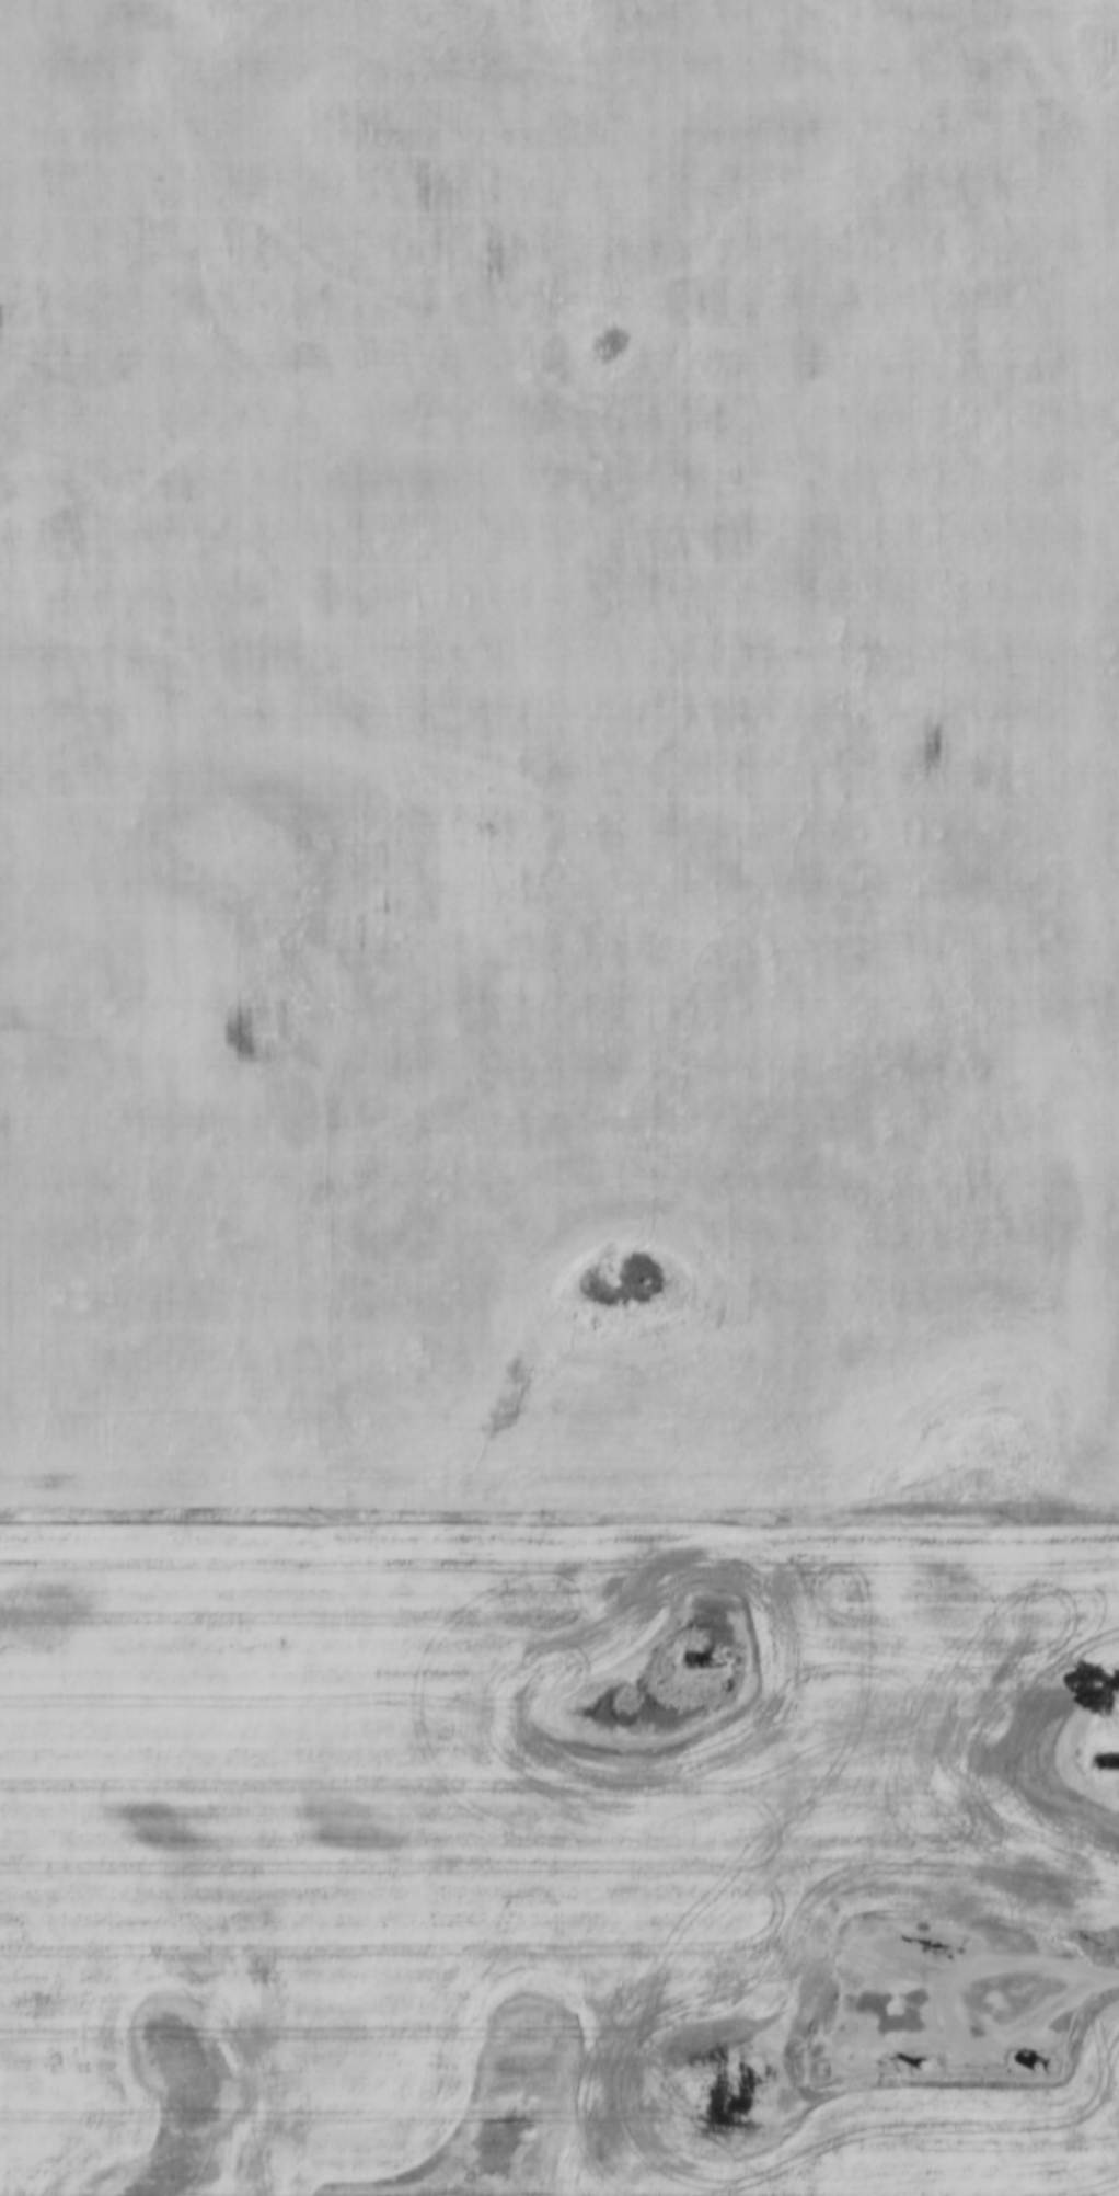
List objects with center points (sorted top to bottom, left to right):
road: (1105, 1972)
road: (948, 2032)

